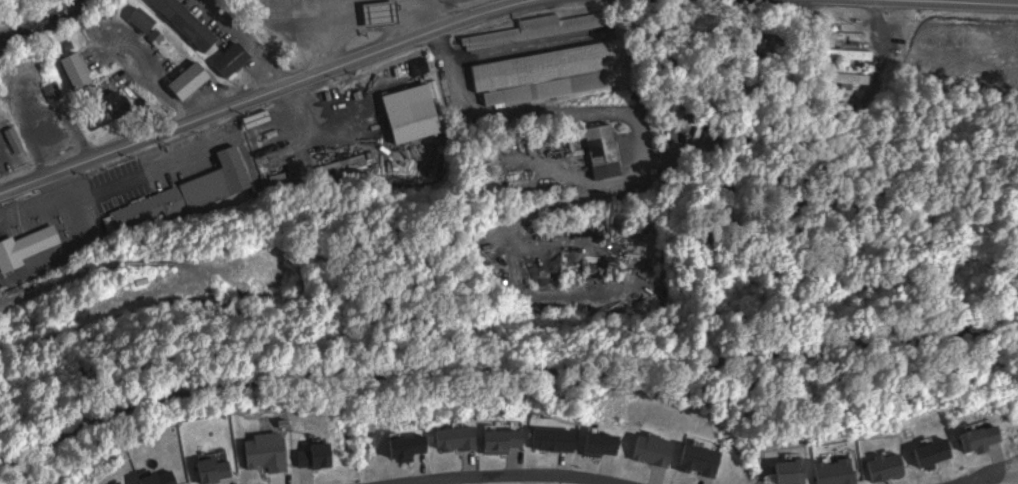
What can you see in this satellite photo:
road: (981, 1)
building: (385, 12)
river: (42, 19)
building: (146, 20)
building: (191, 23)
building: (540, 28)
building: (851, 35)
building: (853, 53)
building: (236, 59)
building: (548, 66)
building: (81, 72)
building: (194, 80)
building: (555, 87)
building: (53, 91)
road: (264, 93)
building: (120, 103)
building: (416, 115)
building: (56, 131)
building: (4, 148)
building: (607, 150)
road: (339, 187)
building: (189, 194)
building: (28, 246)
road: (21, 324)
road: (502, 370)
road: (507, 471)
road: (974, 476)

